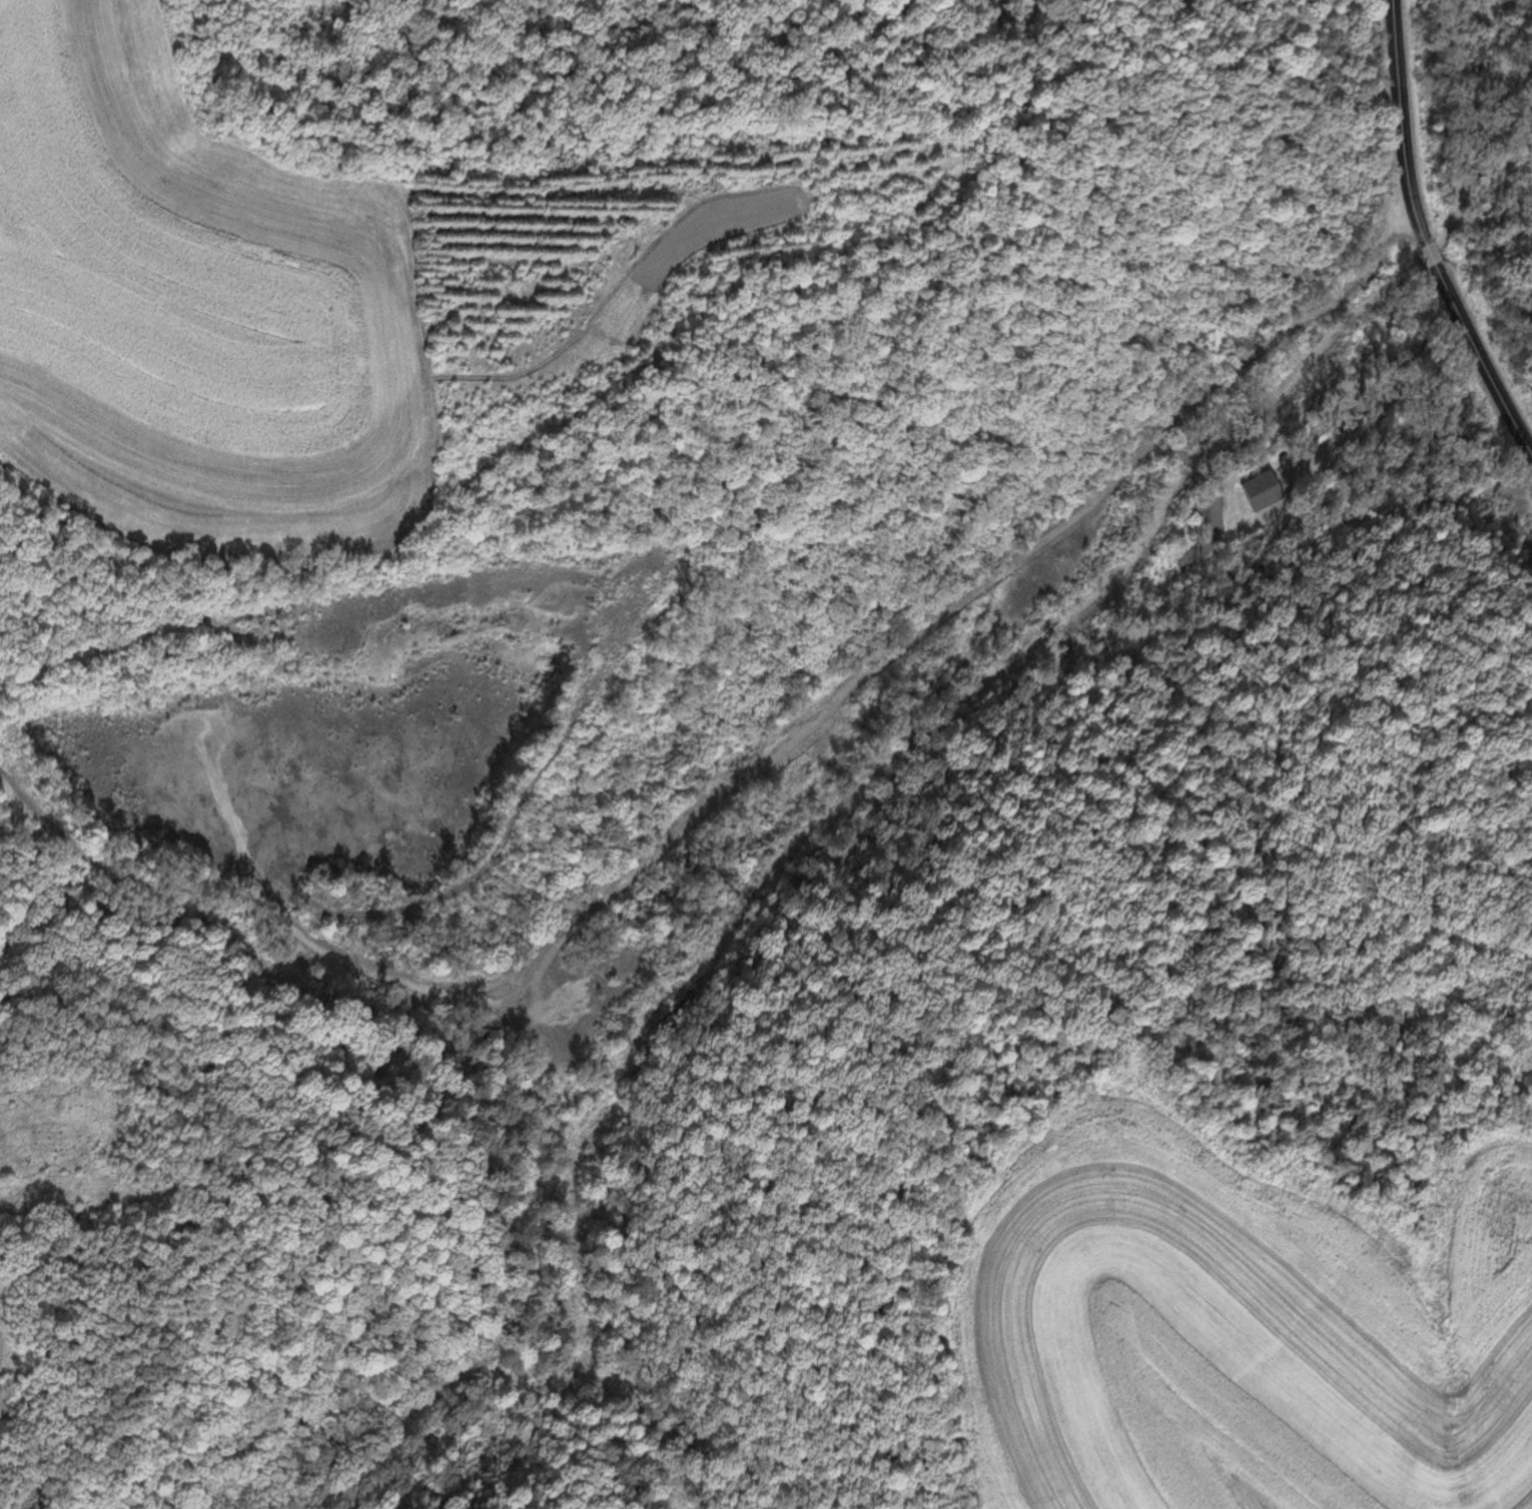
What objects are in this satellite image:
road: (1421, 241)
building: (1319, 441)
road: (832, 610)

